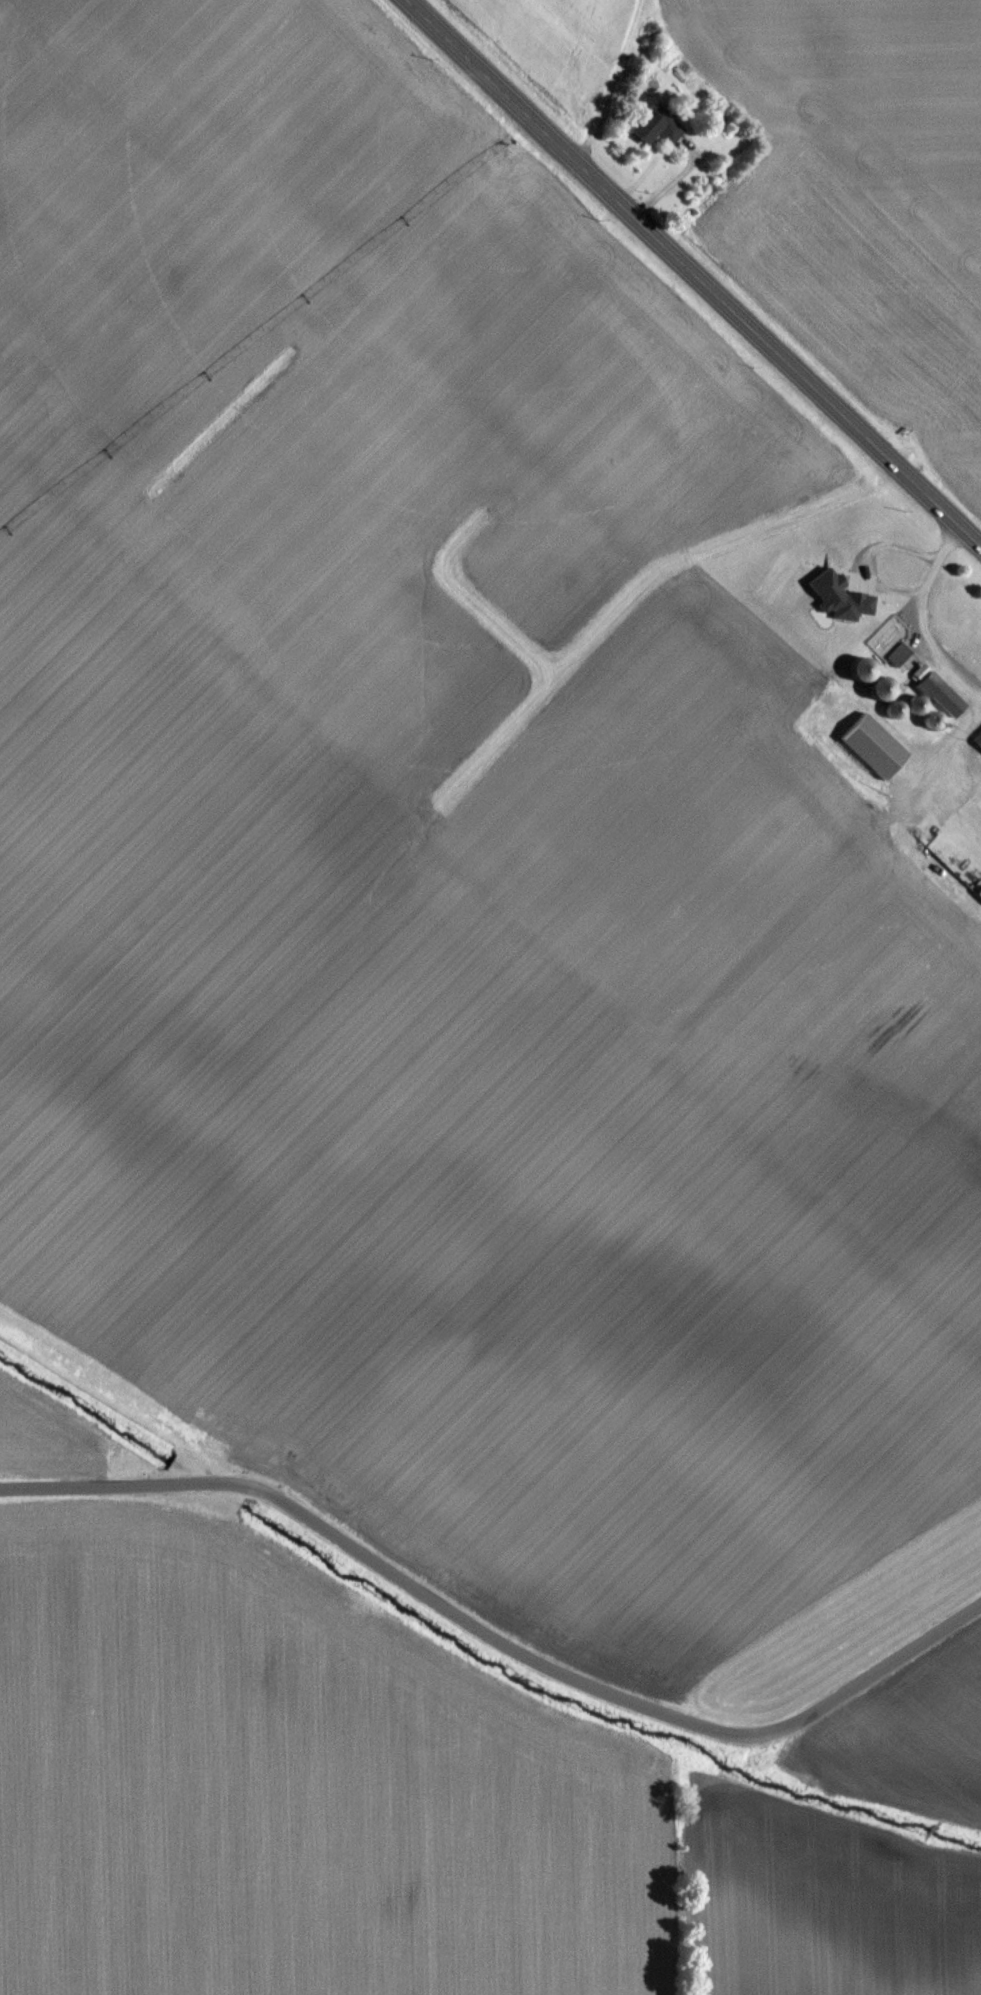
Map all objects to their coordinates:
building: (652, 126)
road: (694, 275)
building: (950, 612)
road: (915, 621)
building: (897, 654)
building: (865, 677)
building: (936, 691)
building: (911, 703)
building: (890, 708)
building: (927, 718)
building: (870, 743)
building: (955, 860)
road: (494, 1640)

